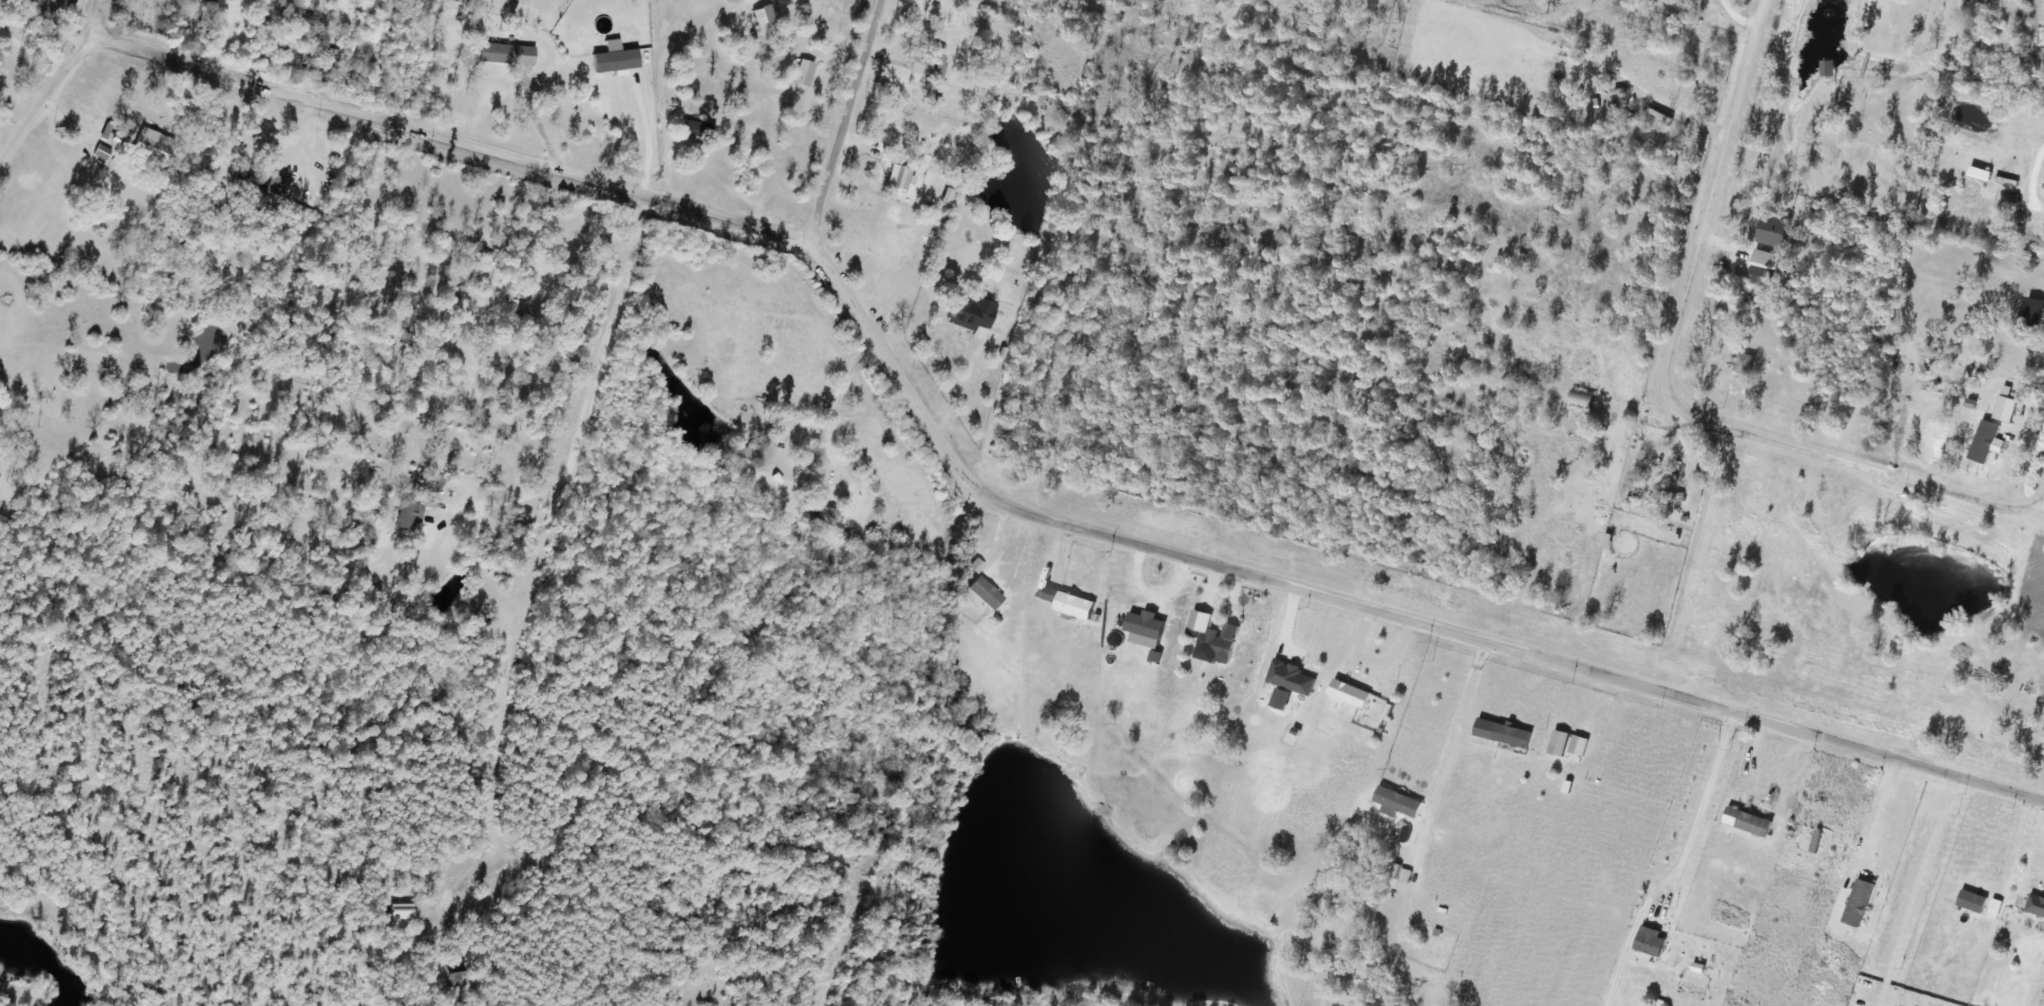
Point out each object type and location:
building: (757, 16)
road: (92, 17)
building: (1066, 31)
building: (494, 53)
building: (932, 62)
building: (1826, 67)
road: (45, 96)
road: (844, 120)
building: (697, 130)
road: (291, 138)
road: (448, 138)
building: (149, 149)
building: (898, 177)
building: (246, 186)
building: (2007, 206)
building: (520, 271)
building: (2032, 312)
building: (970, 315)
building: (512, 316)
building: (1740, 363)
road: (1664, 394)
building: (1580, 399)
building: (1981, 442)
building: (743, 451)
building: (430, 482)
building: (404, 516)
building: (827, 520)
building: (1605, 541)
building: (981, 593)
building: (1068, 603)
road: (1364, 608)
building: (1143, 630)
building: (1216, 644)
building: (1348, 694)
building: (1510, 736)
building: (1396, 802)
building: (1746, 822)
building: (1970, 902)
building: (1856, 903)
building: (2034, 905)
building: (402, 914)
building: (1648, 945)
building: (457, 974)

